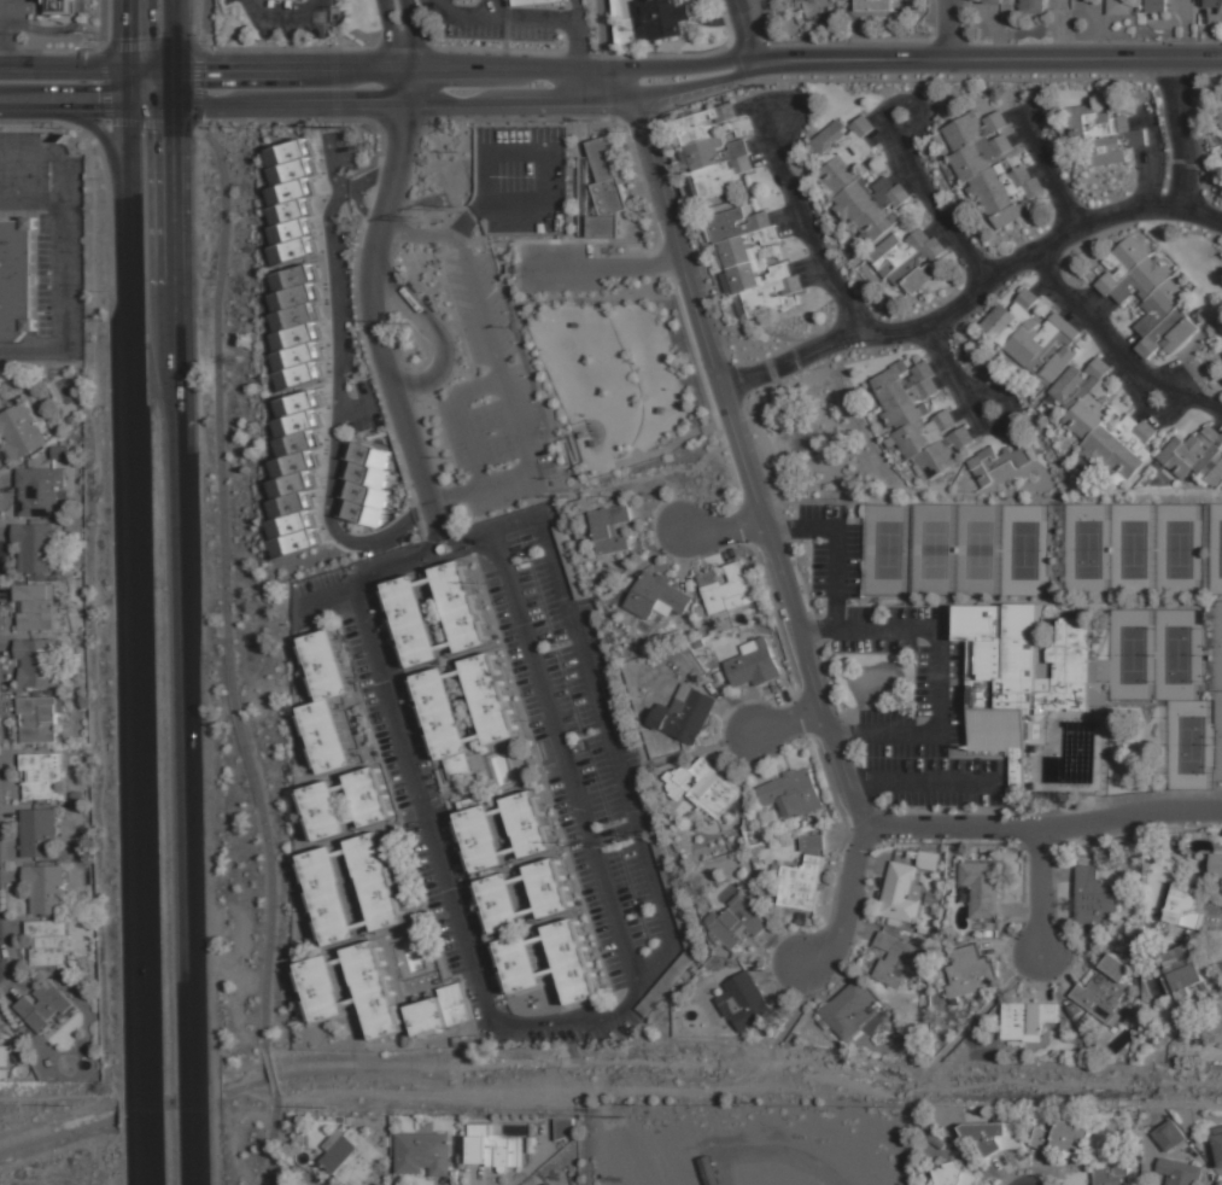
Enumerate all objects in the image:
building: (794, 0)
building: (996, 0)
building: (525, 1)
building: (1214, 4)
building: (872, 5)
building: (1156, 5)
building: (1034, 6)
building: (57, 7)
building: (1118, 7)
road: (574, 10)
road: (461, 16)
building: (668, 17)
road: (566, 18)
parking lot: (484, 19)
road: (286, 21)
road: (205, 22)
road: (948, 28)
road: (742, 30)
road: (171, 33)
road: (601, 33)
road: (1, 34)
road: (130, 34)
road: (392, 34)
road: (413, 34)
traffic signals: (130, 40)
road: (1084, 57)
road: (849, 59)
road: (684, 64)
traffic signals: (204, 66)
road: (288, 66)
road: (511, 66)
road: (64, 68)
road: (151, 68)
road: (104, 80)
road: (199, 83)
road: (694, 84)
road: (407, 86)
road: (130, 89)
road: (170, 89)
road: (520, 103)
road: (288, 107)
road: (747, 109)
road: (918, 110)
building: (1221, 110)
road: (65, 111)
traffic signals: (99, 111)
road: (150, 111)
building: (1221, 115)
road: (1015, 117)
road: (876, 118)
road: (1136, 122)
building: (1093, 123)
building: (707, 124)
road: (92, 125)
road: (99, 128)
building: (975, 130)
traffic signals: (170, 132)
power tower: (347, 132)
road: (1181, 133)
road: (878, 134)
road: (1018, 136)
building: (840, 138)
road: (759, 144)
building: (1112, 147)
building: (288, 152)
building: (715, 152)
building: (981, 157)
road: (762, 158)
parking lot: (29, 163)
road: (1151, 163)
building: (849, 167)
road: (1036, 169)
road: (1141, 170)
building: (292, 171)
road: (1045, 173)
road: (900, 174)
building: (721, 175)
road: (373, 177)
road: (1046, 182)
building: (1000, 183)
road: (911, 186)
building: (607, 187)
road: (391, 189)
building: (290, 192)
building: (584, 195)
building: (861, 199)
road: (929, 202)
building: (1018, 205)
road: (362, 206)
power tower: (449, 208)
building: (290, 211)
road: (799, 215)
road: (784, 216)
power tower: (413, 220)
building: (879, 220)
building: (737, 226)
road: (934, 227)
road: (790, 229)
building: (291, 230)
road: (405, 234)
road: (947, 239)
building: (746, 249)
building: (292, 250)
building: (895, 252)
building: (1121, 264)
road: (805, 265)
road: (641, 267)
parking lot: (560, 268)
road: (560, 268)
road: (64, 270)
building: (918, 270)
building: (755, 275)
building: (16, 278)
building: (293, 278)
road: (815, 280)
building: (1141, 280)
road: (1041, 284)
road: (972, 294)
building: (294, 297)
road: (473, 298)
building: (770, 298)
road: (1091, 299)
building: (1159, 305)
road: (1103, 309)
road: (1068, 310)
building: (1011, 316)
building: (294, 317)
road: (1091, 320)
road: (1078, 321)
building: (574, 325)
building: (1217, 331)
road: (376, 332)
road: (439, 334)
building: (1167, 335)
building: (294, 337)
building: (1033, 338)
road: (1127, 344)
building: (1057, 355)
building: (296, 356)
road: (1109, 356)
building: (589, 360)
road: (945, 363)
road: (1133, 363)
road: (937, 364)
building: (297, 375)
road: (1115, 375)
parking lot: (478, 378)
building: (899, 379)
road: (945, 383)
building: (1077, 383)
road: (982, 387)
road: (478, 389)
park: (615, 389)
building: (604, 391)
road: (1140, 398)
road: (1197, 402)
building: (297, 403)
road: (338, 404)
building: (910, 405)
building: (659, 410)
road: (959, 411)
building: (1089, 411)
road: (1139, 413)
building: (71, 419)
road: (1152, 419)
building: (296, 424)
road: (1218, 424)
road: (511, 425)
road: (973, 430)
building: (19, 432)
building: (926, 432)
road: (1010, 433)
building: (583, 434)
building: (1110, 438)
road: (468, 439)
building: (296, 443)
building: (592, 443)
road: (741, 446)
building: (1191, 451)
building: (59, 453)
building: (1130, 454)
building: (369, 455)
building: (941, 455)
road: (414, 457)
building: (292, 465)
building: (999, 465)
building: (1212, 465)
building: (368, 473)
road: (496, 477)
building: (290, 485)
building: (39, 490)
building: (60, 494)
building: (368, 494)
road: (448, 494)
building: (290, 504)
road: (663, 508)
road: (423, 509)
building: (364, 512)
building: (290, 524)
road: (729, 526)
building: (610, 531)
road: (784, 532)
road: (449, 535)
road: (431, 541)
building: (294, 543)
road: (723, 545)
building: (34, 547)
building: (443, 548)
park: (1023, 549)
park: (1087, 549)
park: (1133, 549)
park: (1215, 549)
park: (887, 550)
park: (932, 550)
park: (978, 550)
park: (1179, 550)
road: (682, 560)
building: (569, 561)
building: (58, 571)
building: (37, 578)
road: (222, 588)
building: (730, 591)
road: (179, 592)
road: (138, 594)
road: (327, 596)
building: (657, 599)
building: (34, 606)
building: (460, 606)
building: (413, 621)
road: (817, 630)
road: (912, 631)
park: (1217, 647)
park: (1130, 655)
park: (1175, 655)
building: (36, 661)
building: (324, 664)
building: (752, 665)
road: (95, 669)
building: (1019, 676)
parking lot: (899, 679)
building: (489, 697)
road: (779, 699)
building: (440, 713)
building: (684, 716)
road: (787, 718)
building: (37, 719)
road: (731, 720)
building: (87, 726)
road: (604, 730)
road: (843, 734)
building: (326, 735)
park: (1217, 736)
road: (727, 745)
park: (1189, 745)
building: (458, 766)
building: (41, 775)
road: (856, 784)
road: (932, 784)
building: (712, 789)
building: (791, 793)
building: (76, 795)
building: (367, 796)
building: (472, 802)
building: (322, 811)
building: (527, 823)
road: (1042, 828)
building: (39, 833)
power tower: (643, 833)
building: (480, 837)
road: (842, 839)
building: (812, 842)
power tower: (607, 843)
building: (928, 860)
building: (1216, 863)
road: (872, 865)
building: (1206, 869)
road: (1057, 874)
building: (375, 880)
building: (801, 885)
building: (548, 887)
building: (45, 888)
building: (983, 888)
building: (673, 892)
road: (1039, 892)
building: (328, 894)
building: (901, 894)
building: (1095, 897)
building: (499, 903)
road: (846, 904)
building: (1180, 905)
road: (1019, 909)
building: (737, 924)
road: (859, 932)
building: (1173, 936)
building: (47, 941)
building: (1129, 941)
building: (1111, 942)
road: (1008, 947)
building: (1136, 947)
road: (780, 951)
building: (571, 961)
building: (893, 961)
building: (520, 963)
building: (62, 967)
building: (1136, 969)
road: (633, 970)
road: (837, 970)
building: (1180, 971)
road: (778, 973)
building: (971, 973)
road: (1056, 973)
road: (1042, 979)
building: (665, 983)
building: (323, 988)
building: (375, 988)
building: (1104, 990)
building: (748, 1002)
building: (43, 1005)
building: (852, 1010)
building: (1074, 1010)
building: (440, 1011)
building: (1217, 1020)
building: (1028, 1021)
building: (1113, 1029)
building: (1182, 1035)
building: (5, 1056)
building: (17, 1056)
road: (270, 1072)
road: (117, 1092)
road: (150, 1107)
road: (188, 1108)
road: (122, 1115)
building: (1000, 1116)
building: (340, 1119)
building: (1045, 1126)
building: (563, 1127)
building: (1168, 1134)
building: (995, 1136)
road: (273, 1137)
building: (1065, 1139)
building: (333, 1140)
building: (385, 1140)
building: (935, 1140)
building: (1218, 1143)
power substation: (748, 1144)
building: (492, 1148)
building: (422, 1152)
road: (113, 1157)
building: (353, 1157)
road: (802, 1160)
road: (151, 1162)
road: (188, 1162)
building: (708, 1171)
building: (1179, 1172)
building: (1111, 1173)
building: (953, 1175)
building: (316, 1179)
road: (1031, 1183)
building: (545, 1184)

